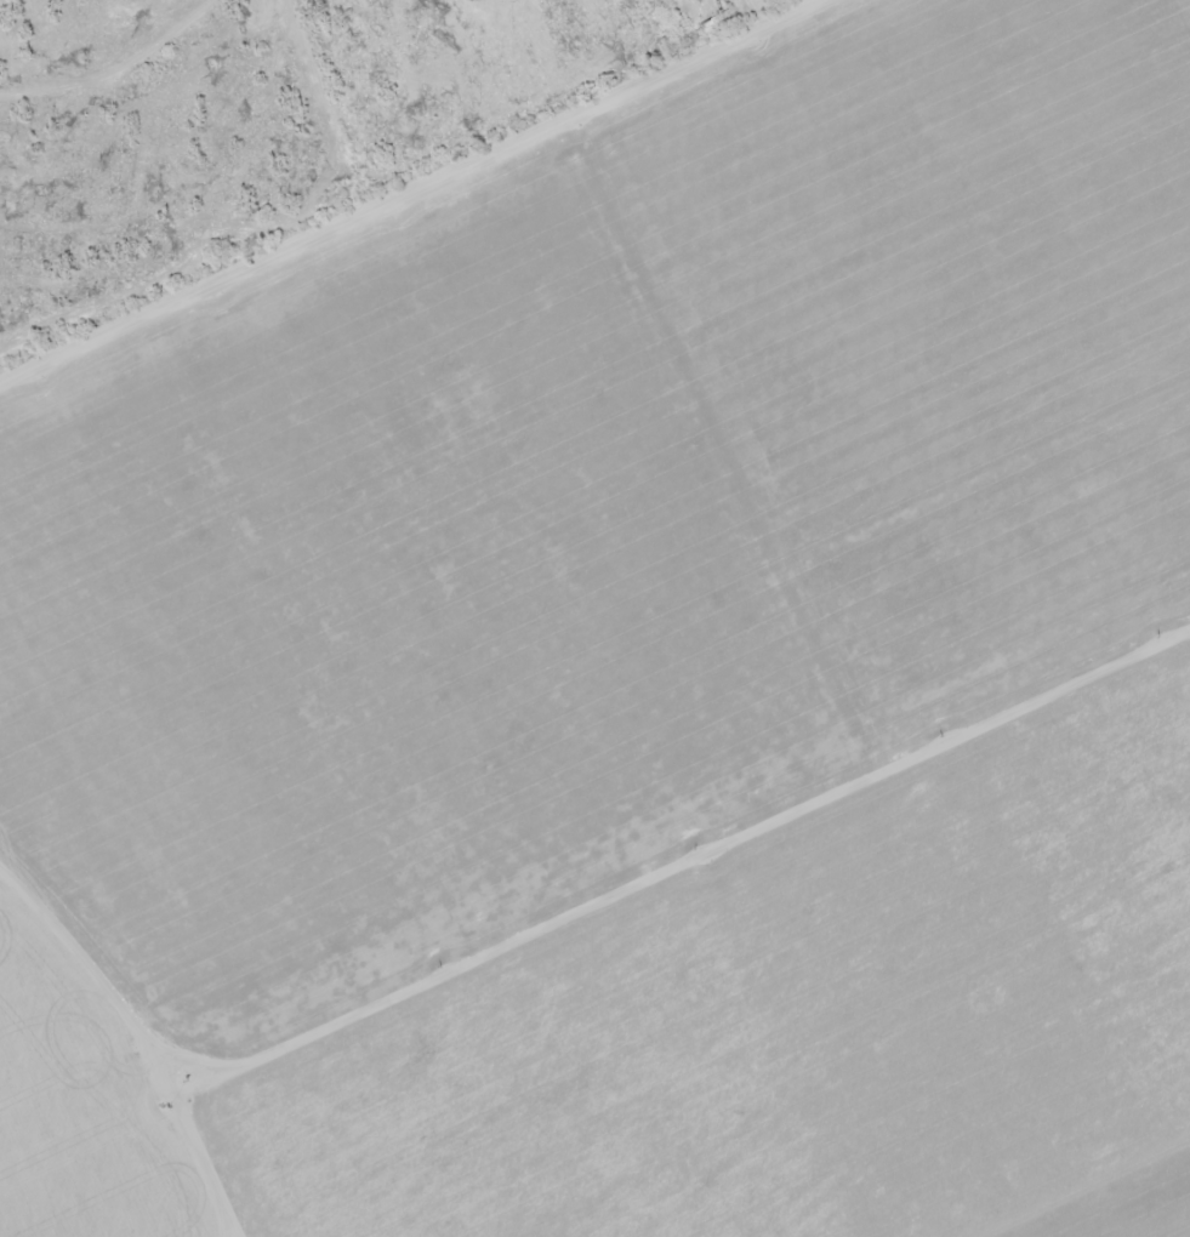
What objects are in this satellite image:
road: (718, 691)

